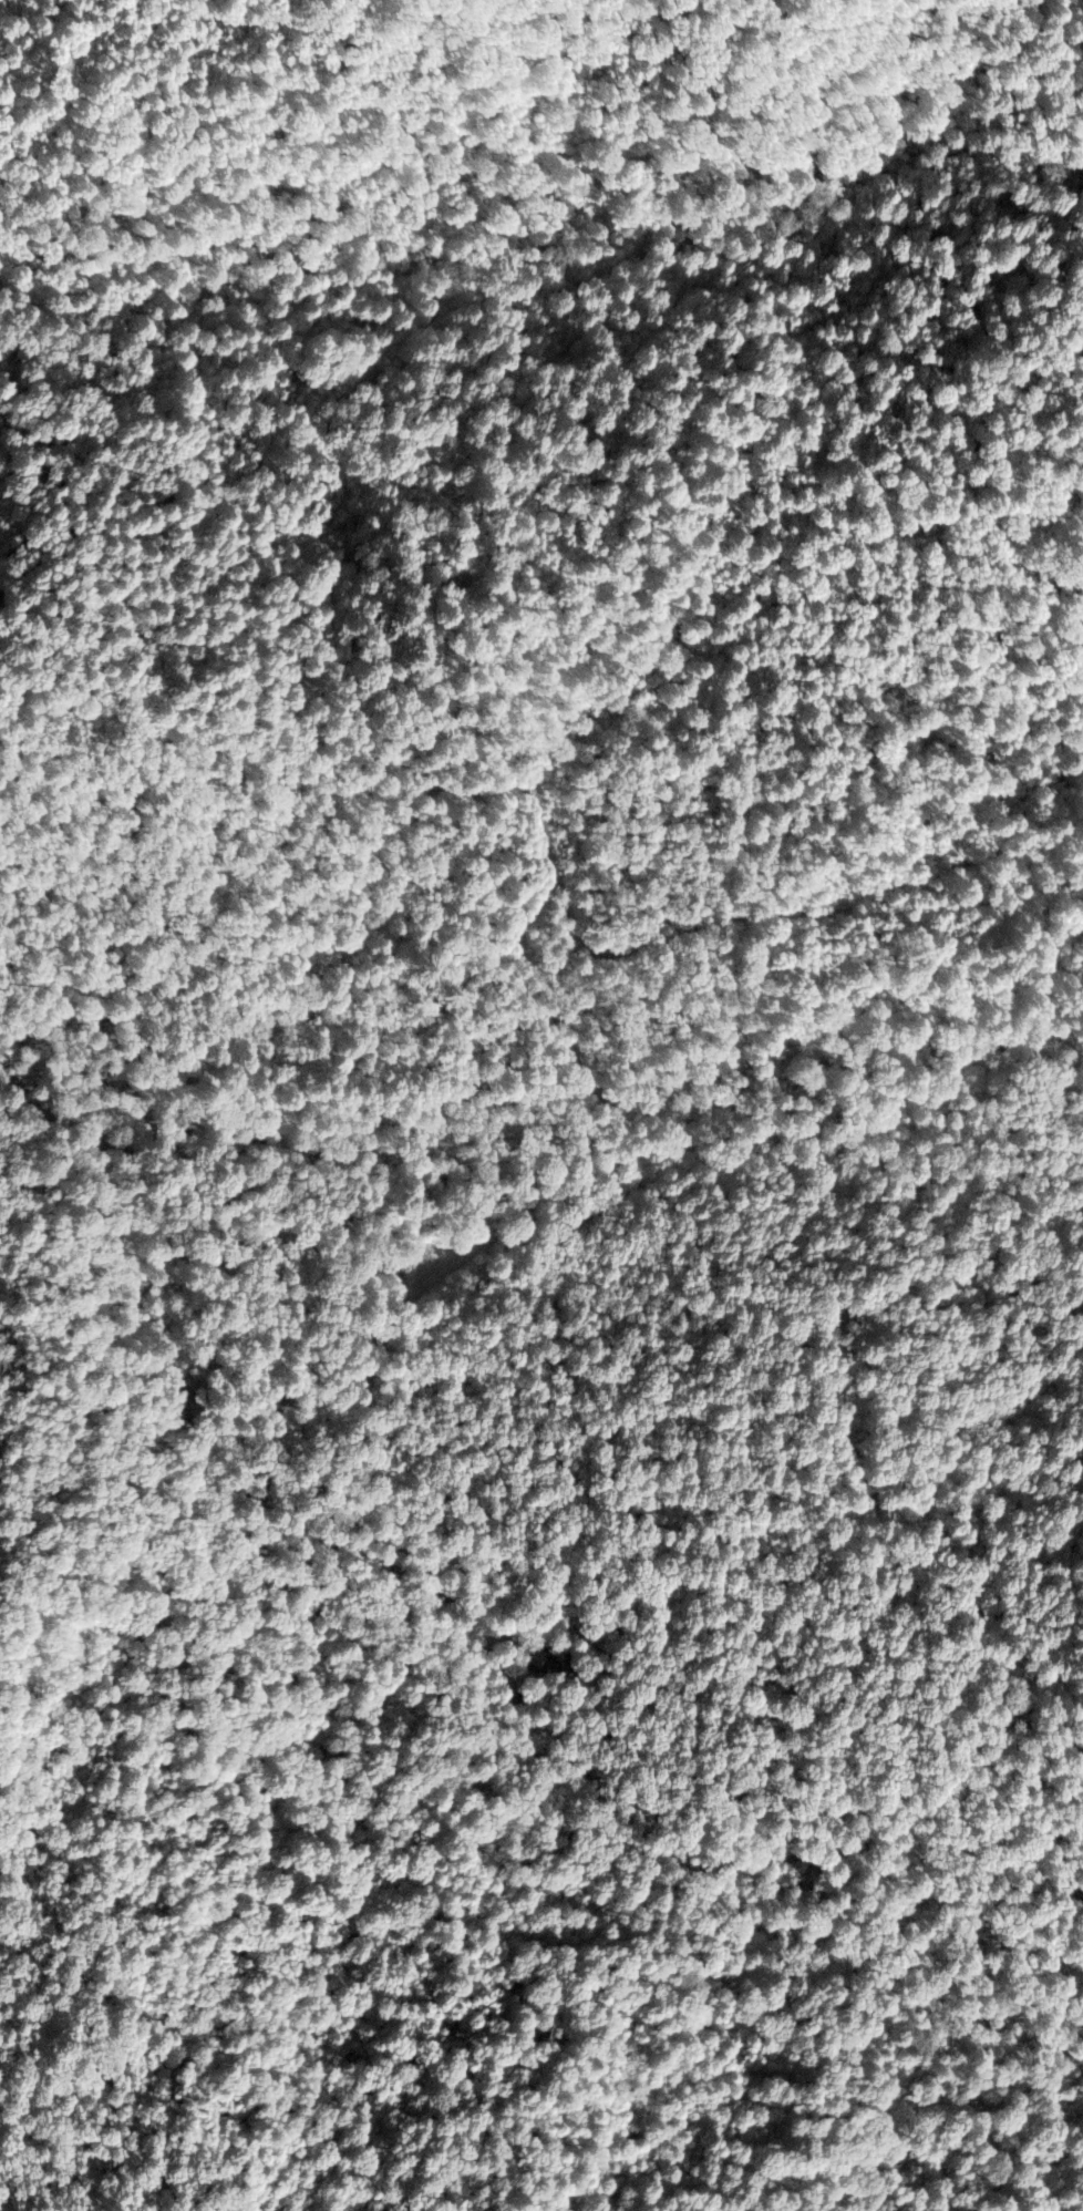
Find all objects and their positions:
building: (541, 1659)

